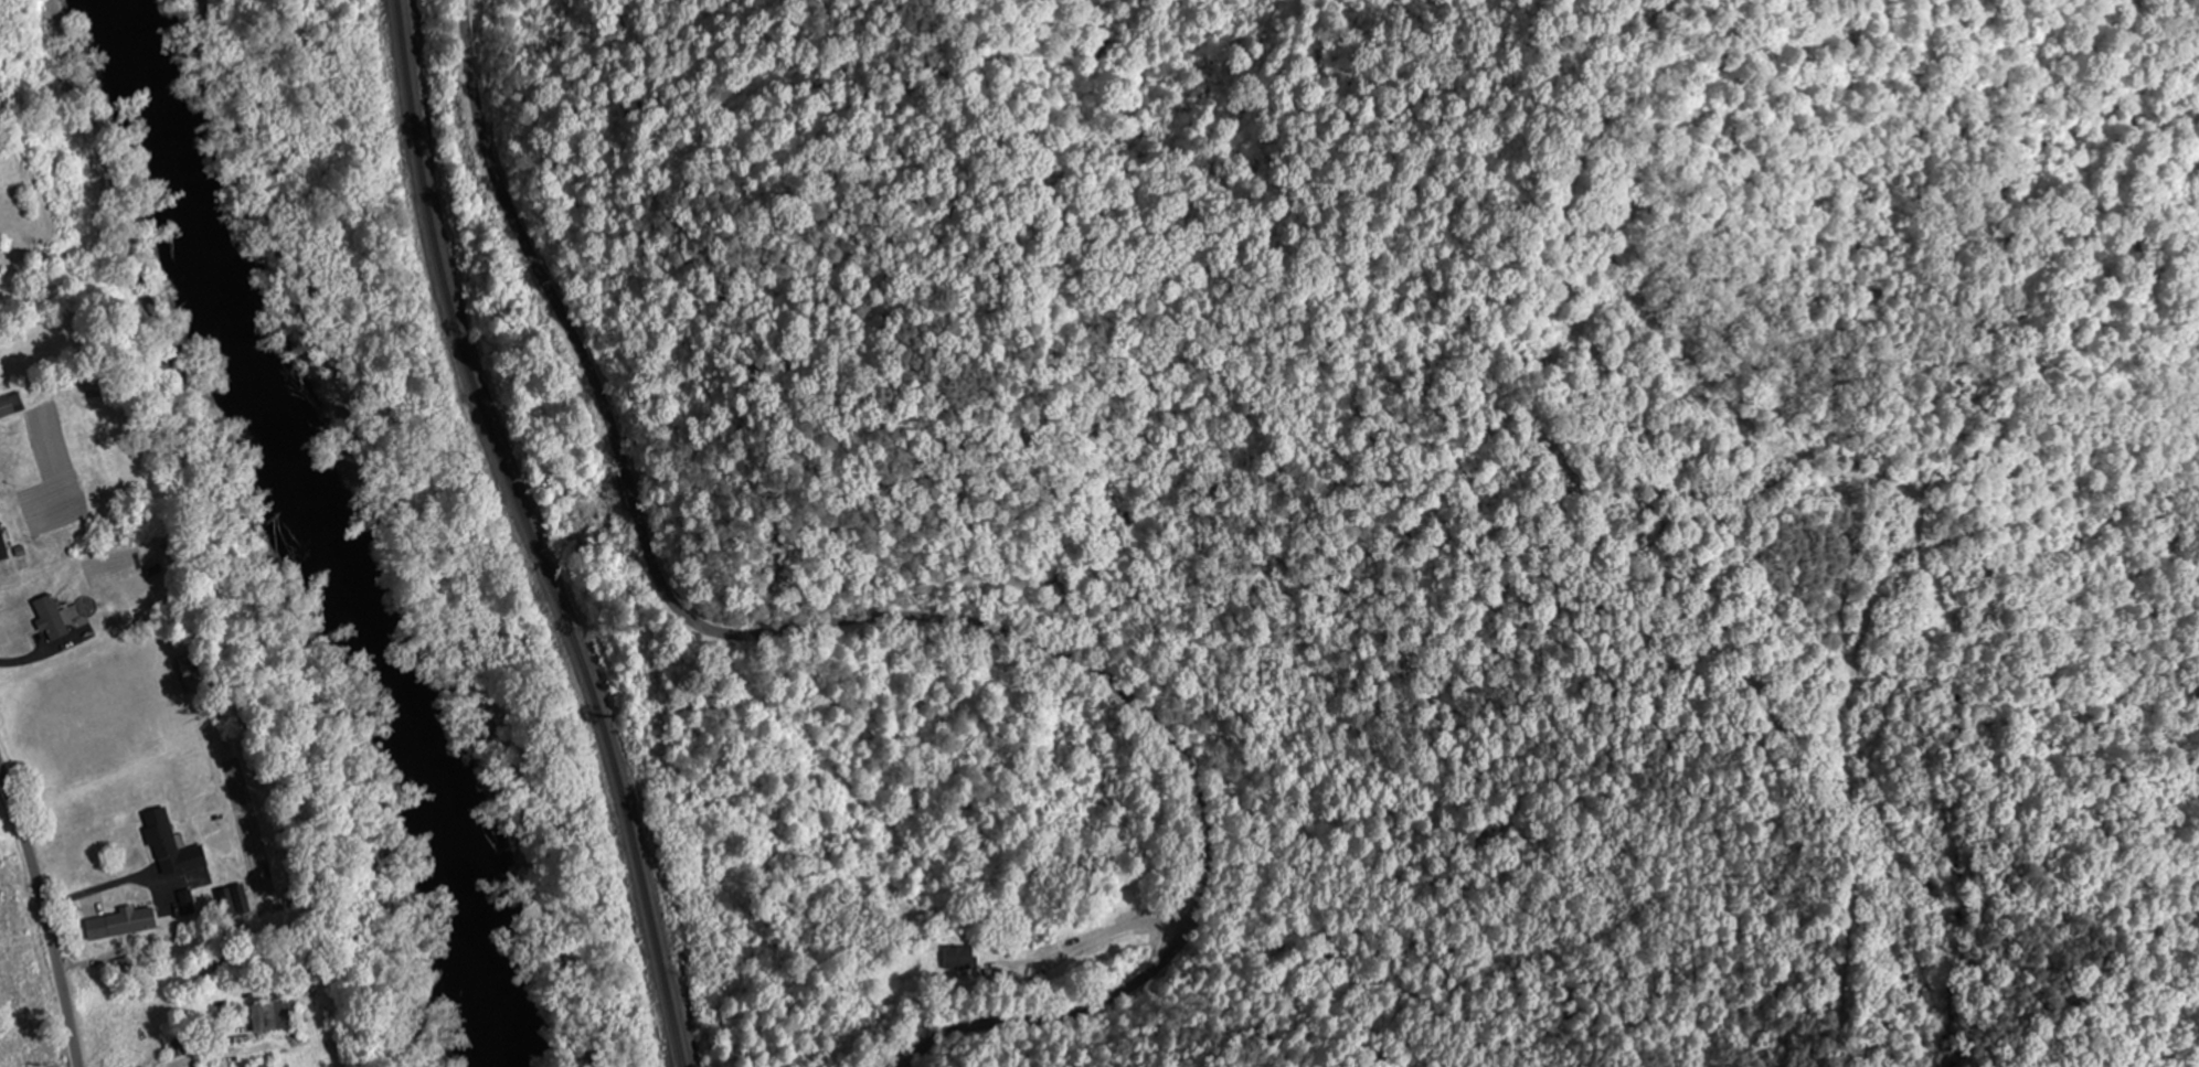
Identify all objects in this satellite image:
building: (6, 409)
river: (332, 522)
railway: (533, 534)
building: (2, 546)
building: (51, 618)
road: (869, 626)
building: (190, 668)
building: (171, 847)
road: (46, 918)
building: (121, 924)
road: (1993, 935)
building: (959, 959)
building: (274, 1015)

